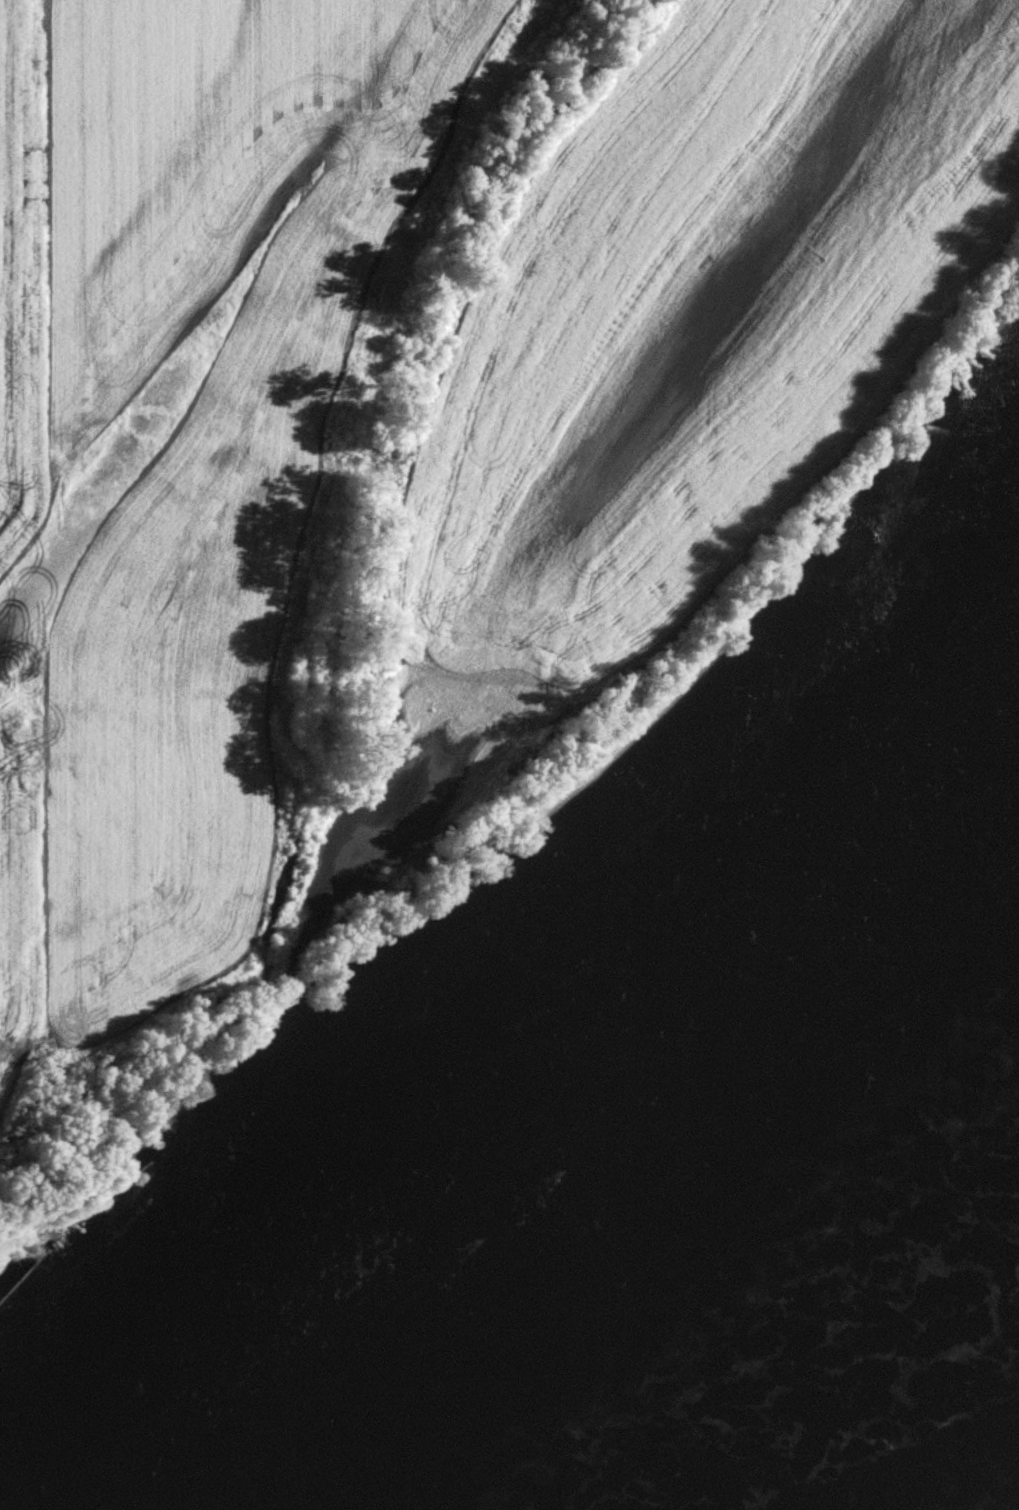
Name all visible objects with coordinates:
river: (878, 1372)

